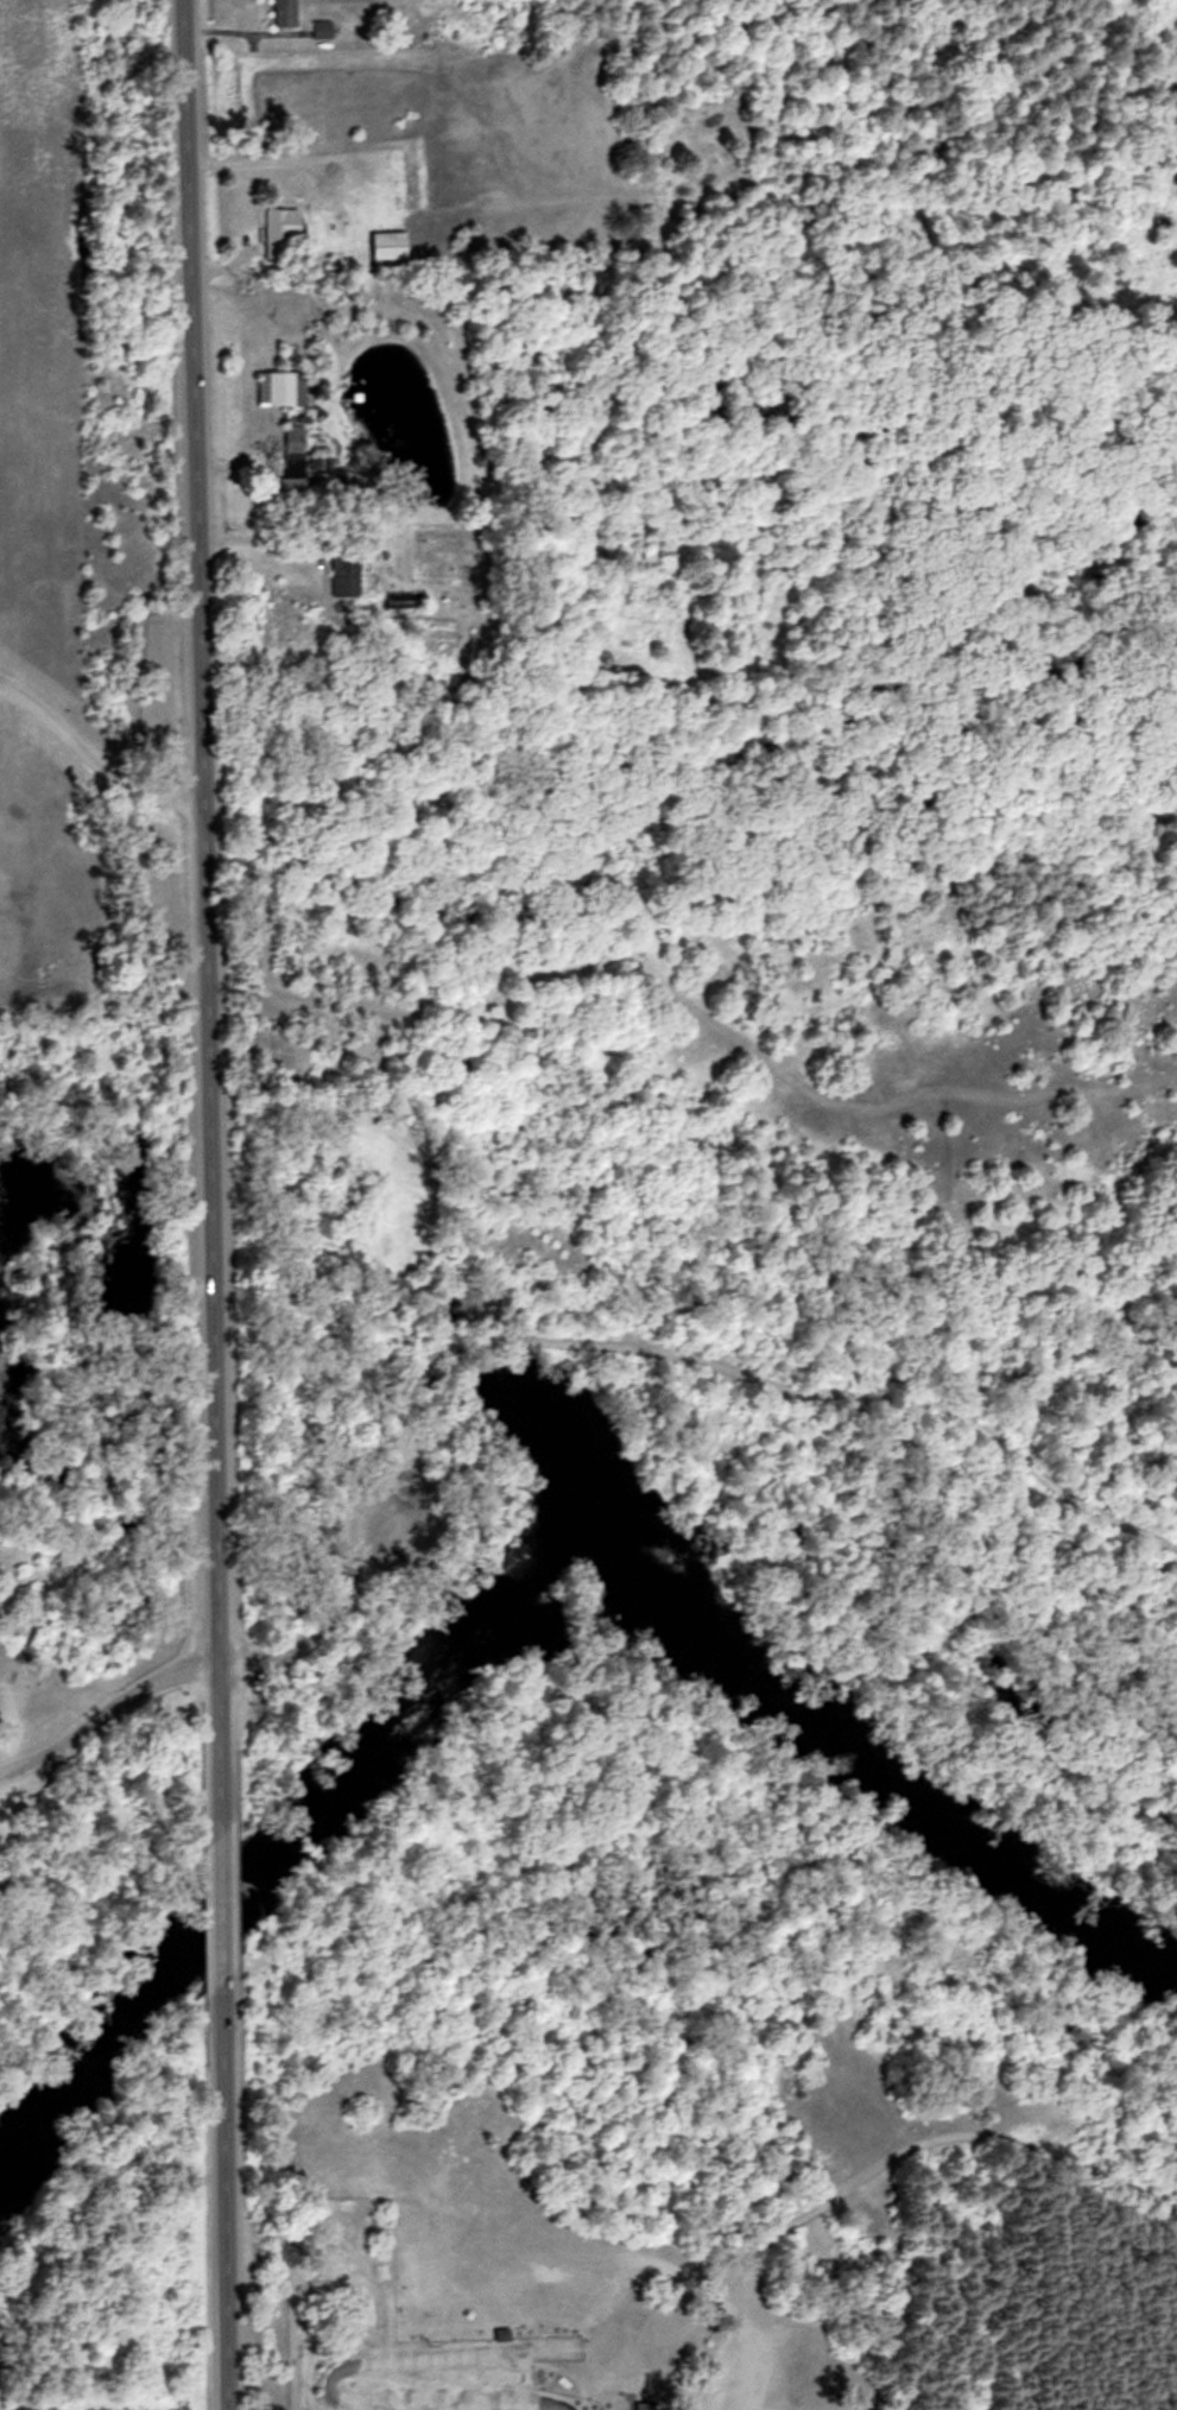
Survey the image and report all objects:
building: (280, 12)
building: (317, 29)
building: (276, 228)
building: (278, 387)
building: (290, 438)
building: (299, 480)
building: (341, 575)
park: (86, 672)
road: (91, 753)
road: (204, 917)
park: (729, 1372)
road: (753, 1374)
river: (538, 1535)
road: (337, 1613)
road: (40, 1618)
road: (107, 1709)
park: (100, 1860)
road: (219, 1909)
road: (886, 2162)
road: (1163, 2176)
road: (223, 2196)
park: (338, 2265)
building: (646, 2406)

